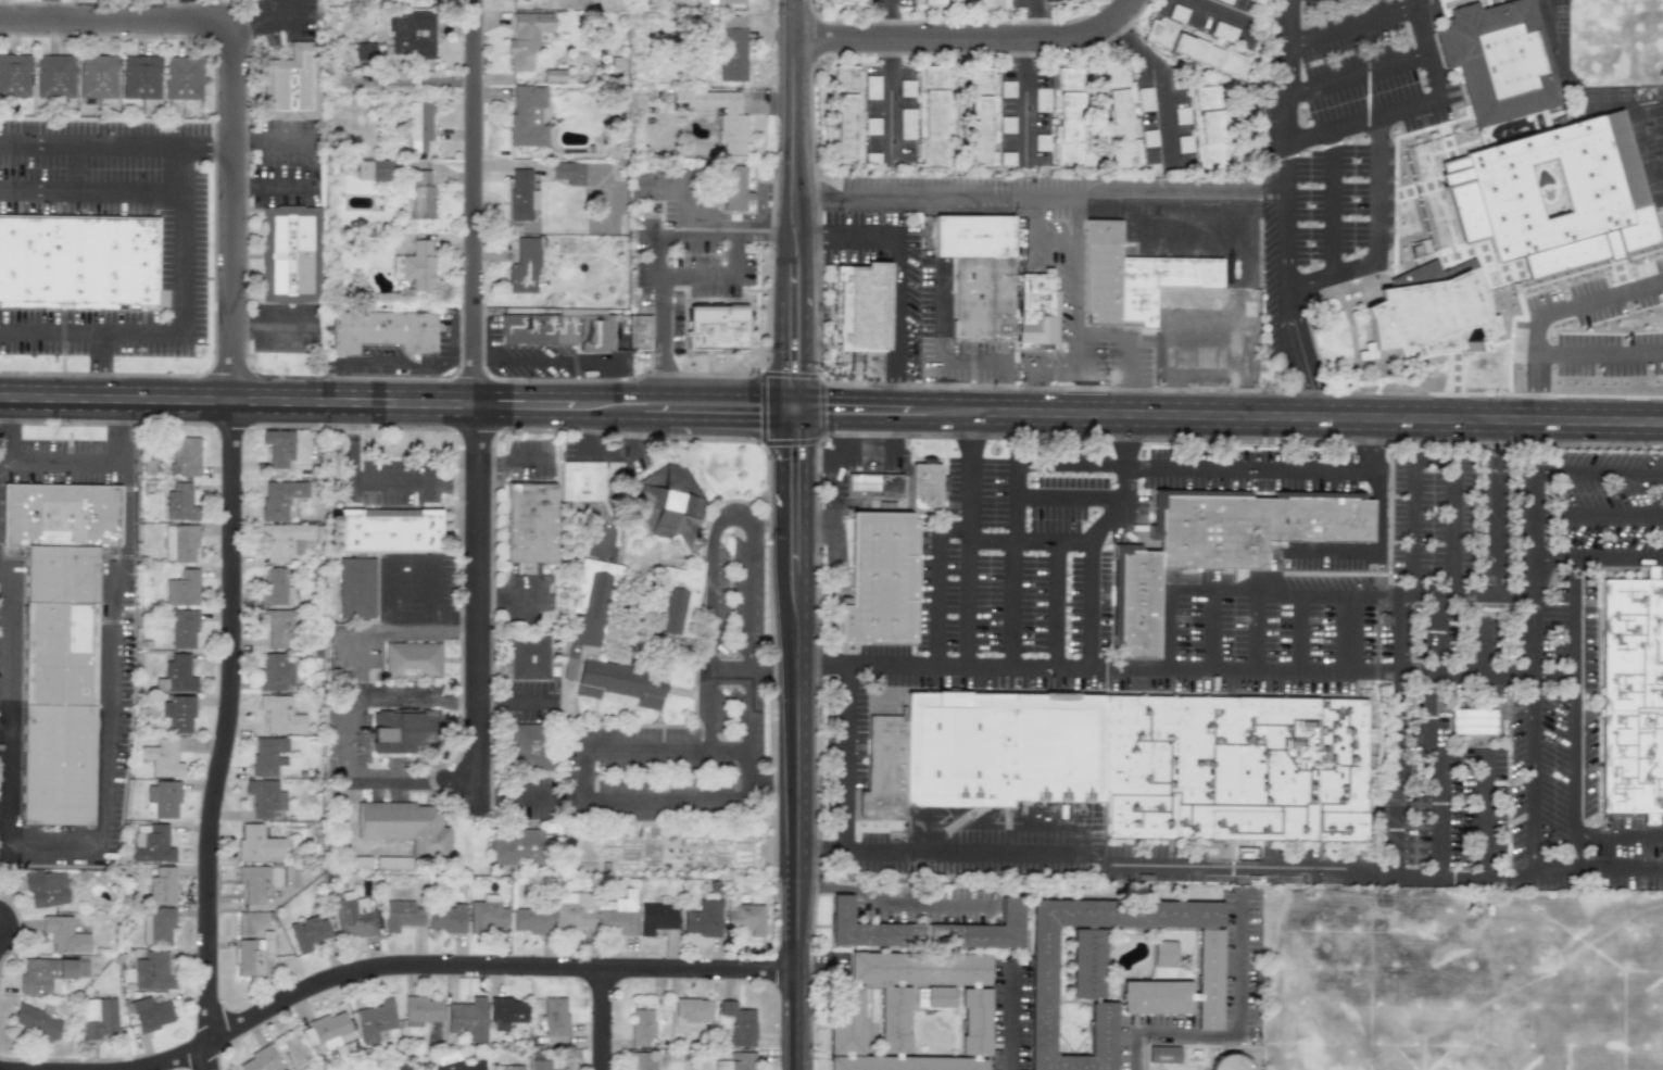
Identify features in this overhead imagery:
building: (851, 0)
building: (1064, 0)
building: (725, 1)
building: (1226, 1)
building: (929, 3)
building: (993, 4)
road: (46, 10)
road: (186, 10)
road: (1215, 12)
building: (1177, 13)
road: (261, 15)
building: (1589, 15)
road: (1034, 17)
road: (886, 18)
road: (1355, 22)
building: (1223, 32)
building: (411, 34)
road: (969, 37)
building: (525, 38)
building: (1589, 45)
building: (732, 48)
building: (1195, 48)
building: (363, 51)
road: (896, 53)
building: (1498, 60)
building: (1587, 67)
road: (1290, 72)
road: (1360, 72)
building: (14, 75)
building: (53, 75)
building: (96, 76)
building: (140, 76)
road: (1161, 76)
building: (182, 77)
road: (411, 79)
building: (293, 84)
building: (871, 87)
building: (906, 88)
building: (1007, 89)
road: (891, 98)
road: (1026, 98)
building: (1144, 99)
road: (231, 100)
building: (1042, 100)
road: (1418, 110)
building: (847, 114)
building: (931, 114)
building: (1066, 114)
building: (720, 115)
building: (982, 115)
building: (1120, 115)
building: (1181, 115)
building: (527, 117)
building: (416, 124)
building: (906, 124)
building: (1007, 125)
building: (871, 126)
building: (1207, 126)
road: (93, 140)
road: (269, 140)
road: (209, 141)
building: (1042, 142)
building: (1184, 143)
building: (871, 158)
building: (1007, 159)
road: (509, 165)
building: (374, 169)
building: (569, 172)
road: (270, 186)
building: (734, 187)
road: (92, 189)
road: (1041, 191)
road: (763, 192)
building: (521, 194)
building: (421, 196)
building: (1552, 197)
road: (794, 198)
road: (475, 202)
road: (1372, 212)
road: (718, 223)
road: (806, 226)
road: (1331, 228)
road: (735, 230)
road: (858, 230)
road: (181, 239)
road: (680, 239)
building: (289, 253)
building: (76, 261)
road: (1075, 262)
building: (415, 264)
building: (524, 266)
building: (978, 274)
building: (1132, 277)
road: (1286, 281)
road: (894, 307)
building: (1037, 307)
building: (861, 309)
road: (1551, 312)
building: (1432, 315)
building: (717, 326)
building: (381, 330)
building: (558, 330)
building: (638, 331)
road: (89, 335)
road: (1129, 336)
road: (1599, 352)
road: (556, 356)
road: (103, 367)
road: (956, 367)
road: (820, 376)
road: (988, 387)
road: (893, 391)
road: (1311, 392)
road: (522, 393)
road: (684, 393)
road: (1075, 394)
road: (854, 395)
road: (1498, 395)
road: (955, 399)
road: (238, 401)
road: (1130, 402)
road: (796, 407)
road: (558, 417)
road: (1330, 417)
road: (348, 419)
road: (719, 419)
road: (898, 420)
road: (761, 435)
road: (924, 435)
road: (1120, 442)
road: (970, 445)
road: (1371, 446)
building: (278, 448)
building: (185, 456)
road: (1433, 461)
road: (66, 463)
road: (3, 470)
road: (1170, 470)
road: (1600, 470)
road: (378, 479)
road: (466, 479)
building: (581, 480)
building: (873, 486)
building: (924, 486)
building: (280, 498)
road: (1043, 501)
building: (180, 503)
building: (669, 504)
road: (1487, 509)
road: (1600, 514)
building: (530, 523)
road: (773, 528)
road: (1452, 529)
building: (389, 530)
building: (287, 539)
building: (180, 543)
building: (1219, 545)
road: (1376, 555)
road: (1600, 556)
road: (1093, 566)
road: (967, 569)
road: (1538, 571)
building: (880, 578)
road: (1010, 586)
road: (1057, 587)
building: (276, 588)
building: (355, 588)
road: (386, 588)
road: (431, 588)
road: (933, 588)
road: (1289, 588)
building: (181, 589)
road: (1484, 599)
building: (678, 602)
building: (589, 610)
road: (479, 615)
road: (710, 615)
road: (432, 616)
building: (184, 628)
building: (278, 628)
road: (1171, 629)
road: (1212, 630)
road: (1258, 630)
road: (1301, 630)
road: (1348, 631)
building: (59, 640)
road: (1484, 647)
road: (752, 657)
building: (529, 658)
building: (412, 660)
road: (1400, 664)
road: (821, 666)
road: (968, 669)
road: (1483, 670)
building: (277, 671)
road: (1255, 672)
road: (753, 674)
road: (1557, 674)
building: (176, 676)
building: (1631, 694)
road: (491, 696)
road: (527, 696)
building: (179, 714)
road: (351, 714)
road: (1576, 714)
building: (280, 715)
building: (1472, 721)
building: (403, 730)
road: (234, 735)
road: (1427, 739)
building: (529, 745)
road: (797, 745)
road: (647, 748)
building: (268, 755)
building: (162, 758)
road: (845, 759)
building: (1130, 761)
road: (585, 772)
road: (1535, 772)
road: (455, 784)
road: (773, 784)
building: (264, 797)
road: (487, 797)
road: (540, 797)
building: (163, 798)
road: (671, 801)
road: (1483, 816)
building: (405, 826)
road: (1603, 835)
road: (104, 841)
building: (151, 843)
building: (257, 844)
building: (517, 847)
road: (942, 855)
building: (393, 863)
road: (1384, 869)
building: (291, 878)
building: (158, 883)
building: (254, 883)
building: (46, 888)
road: (892, 901)
building: (574, 910)
building: (487, 915)
building: (401, 916)
building: (618, 916)
building: (355, 917)
building: (656, 918)
building: (745, 918)
building: (446, 919)
building: (703, 919)
building: (530, 920)
building: (156, 927)
building: (927, 929)
building: (308, 932)
building: (64, 935)
building: (253, 954)
building: (1163, 954)
building: (1086, 962)
building: (152, 971)
building: (49, 973)
road: (466, 973)
road: (1496, 977)
park: (1461, 979)
building: (1155, 986)
building: (421, 1010)
building: (691, 1011)
building: (506, 1012)
building: (150, 1014)
building: (911, 1014)
building: (554, 1016)
building: (99, 1018)
building: (467, 1018)
road: (1007, 1018)
building: (375, 1020)
building: (36, 1021)
road: (1240, 1021)
road: (606, 1023)
building: (739, 1024)
building: (641, 1027)
building: (327, 1031)
building: (260, 1060)
building: (643, 1060)
building: (738, 1061)
building: (540, 1065)
building: (464, 1066)
building: (506, 1068)

